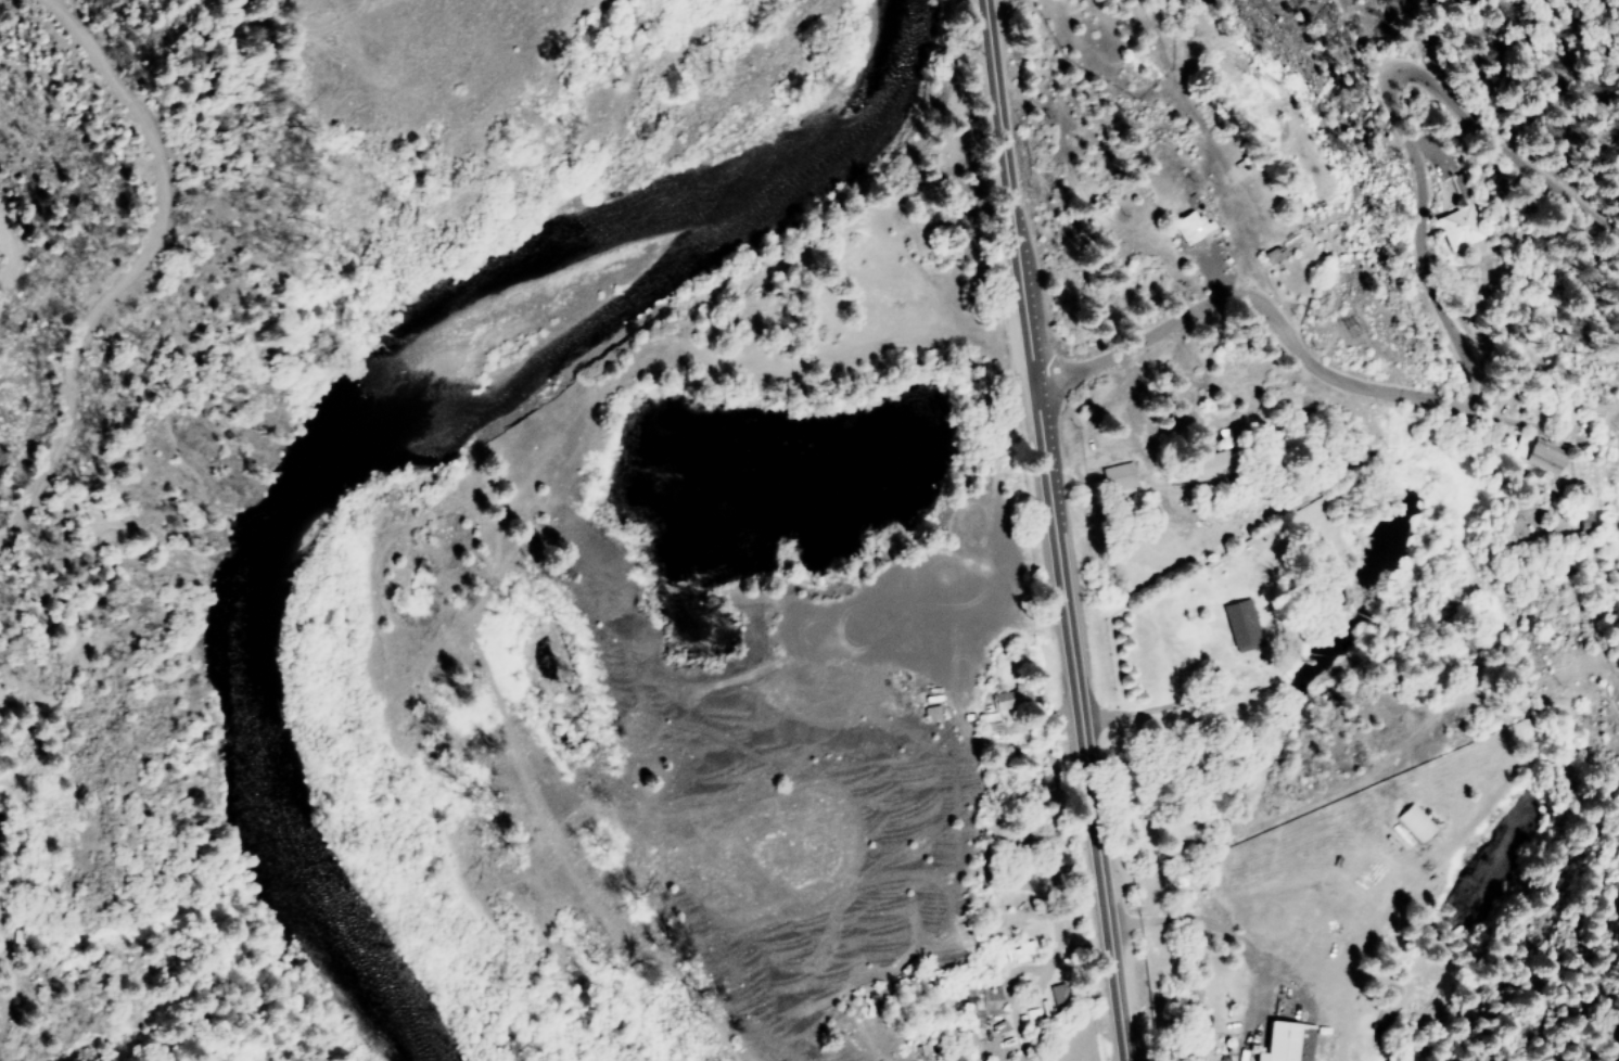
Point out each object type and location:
building: (1189, 227)
road: (130, 265)
road: (1399, 316)
power tower: (1350, 329)
river: (355, 423)
building: (1543, 457)
building: (1204, 468)
building: (1117, 476)
building: (1586, 517)
road: (1055, 530)
building: (1238, 625)
building: (1009, 699)
building: (1414, 821)
building: (1057, 995)
building: (983, 1007)
building: (1286, 1041)

